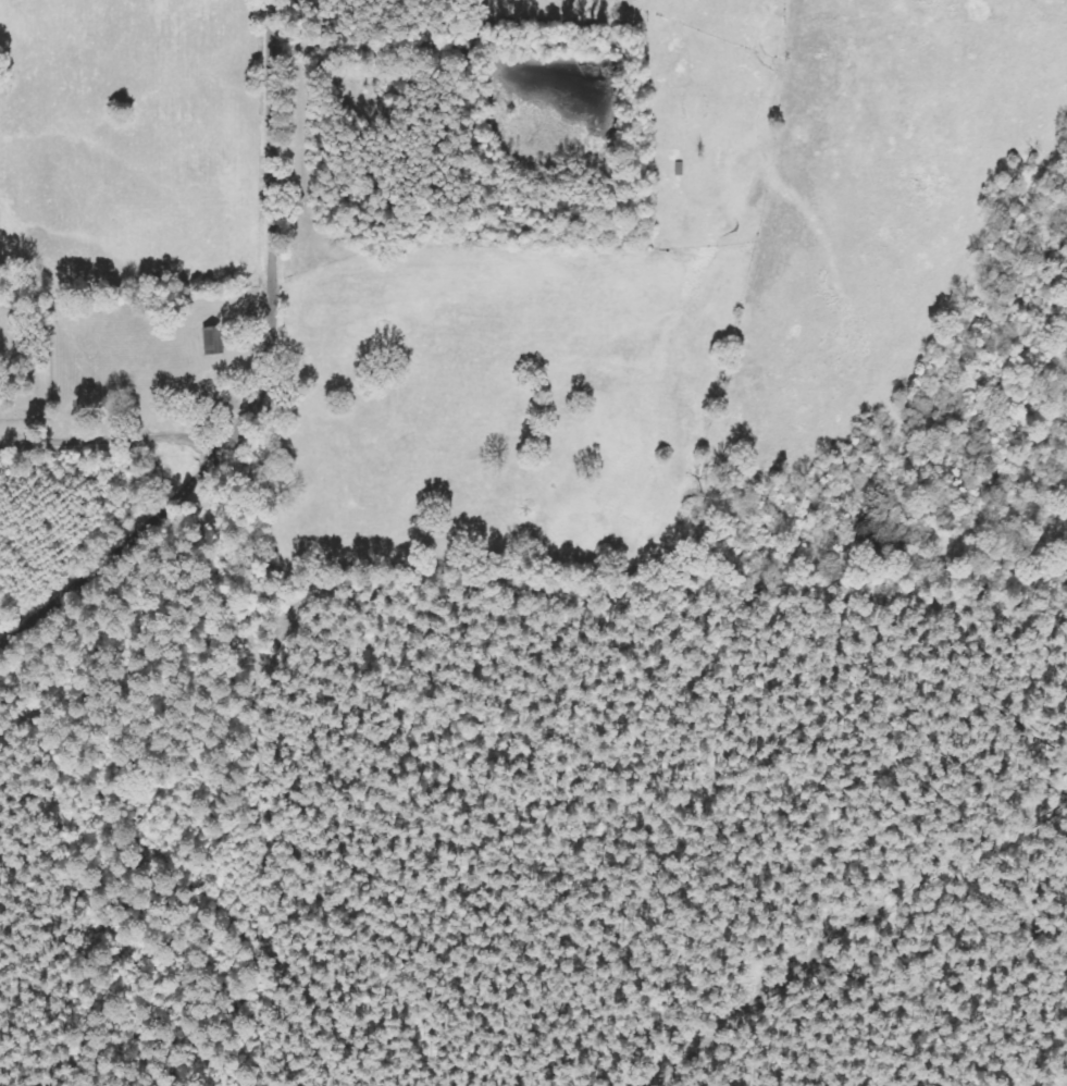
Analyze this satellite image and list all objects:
park: (24, 361)
road: (250, 384)
road: (109, 473)

